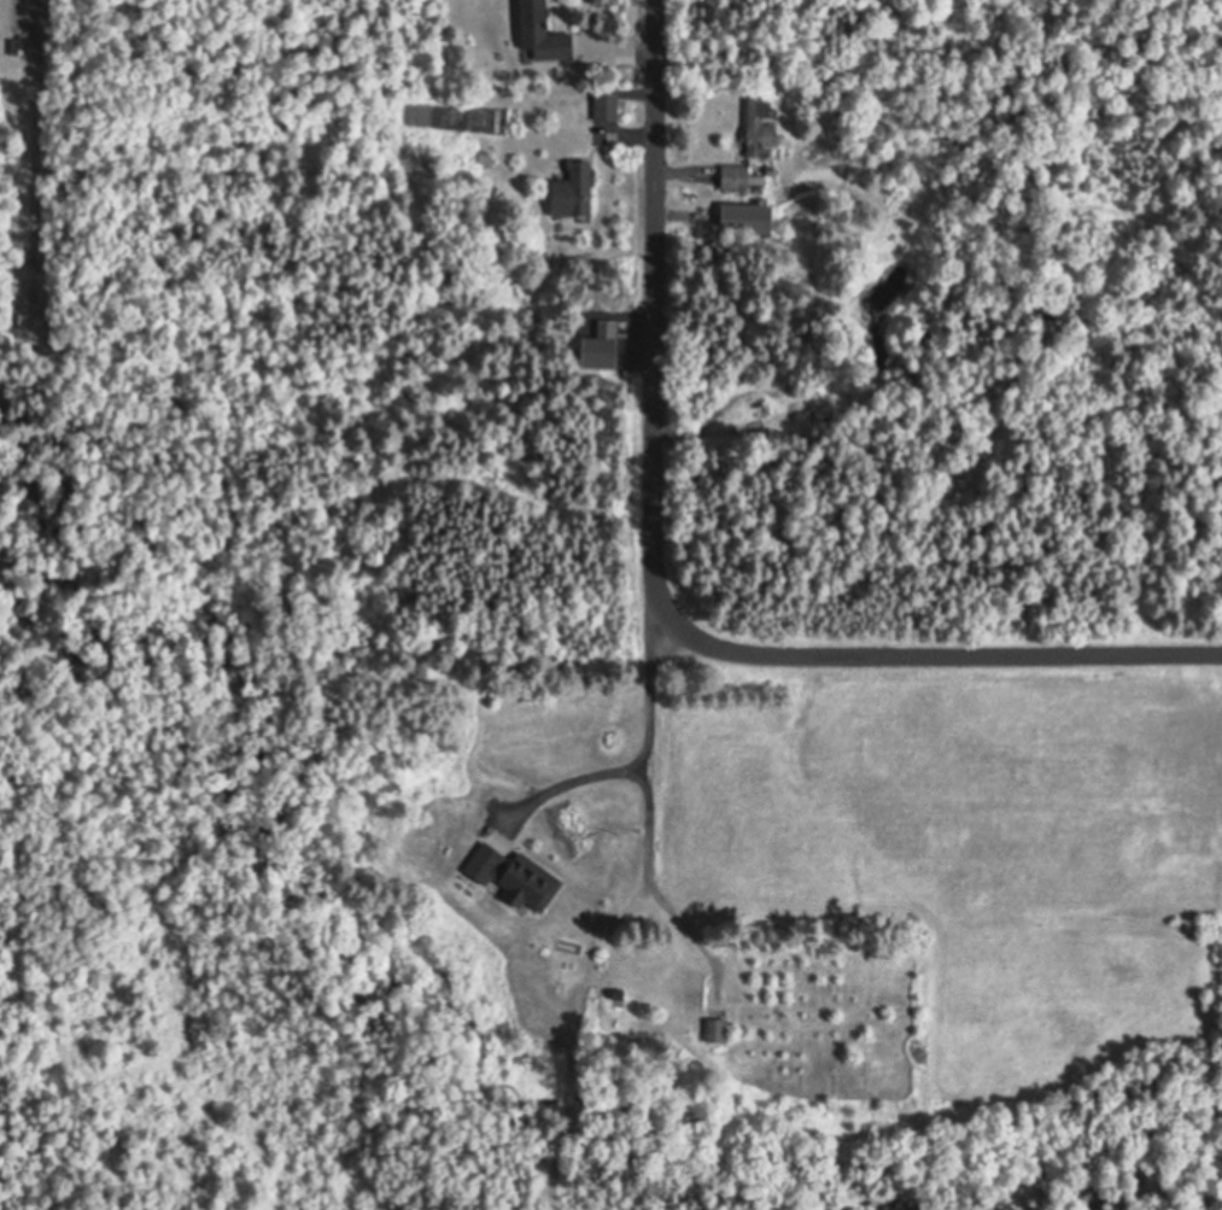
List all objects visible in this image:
building: (542, 30)
building: (18, 45)
building: (571, 88)
building: (606, 99)
building: (759, 125)
building: (739, 175)
building: (574, 188)
building: (747, 215)
building: (23, 317)
building: (824, 408)
building: (782, 415)
road: (659, 591)
road: (575, 781)
road: (648, 797)
building: (587, 840)
building: (515, 875)
building: (694, 988)
building: (619, 996)
building: (717, 1028)

